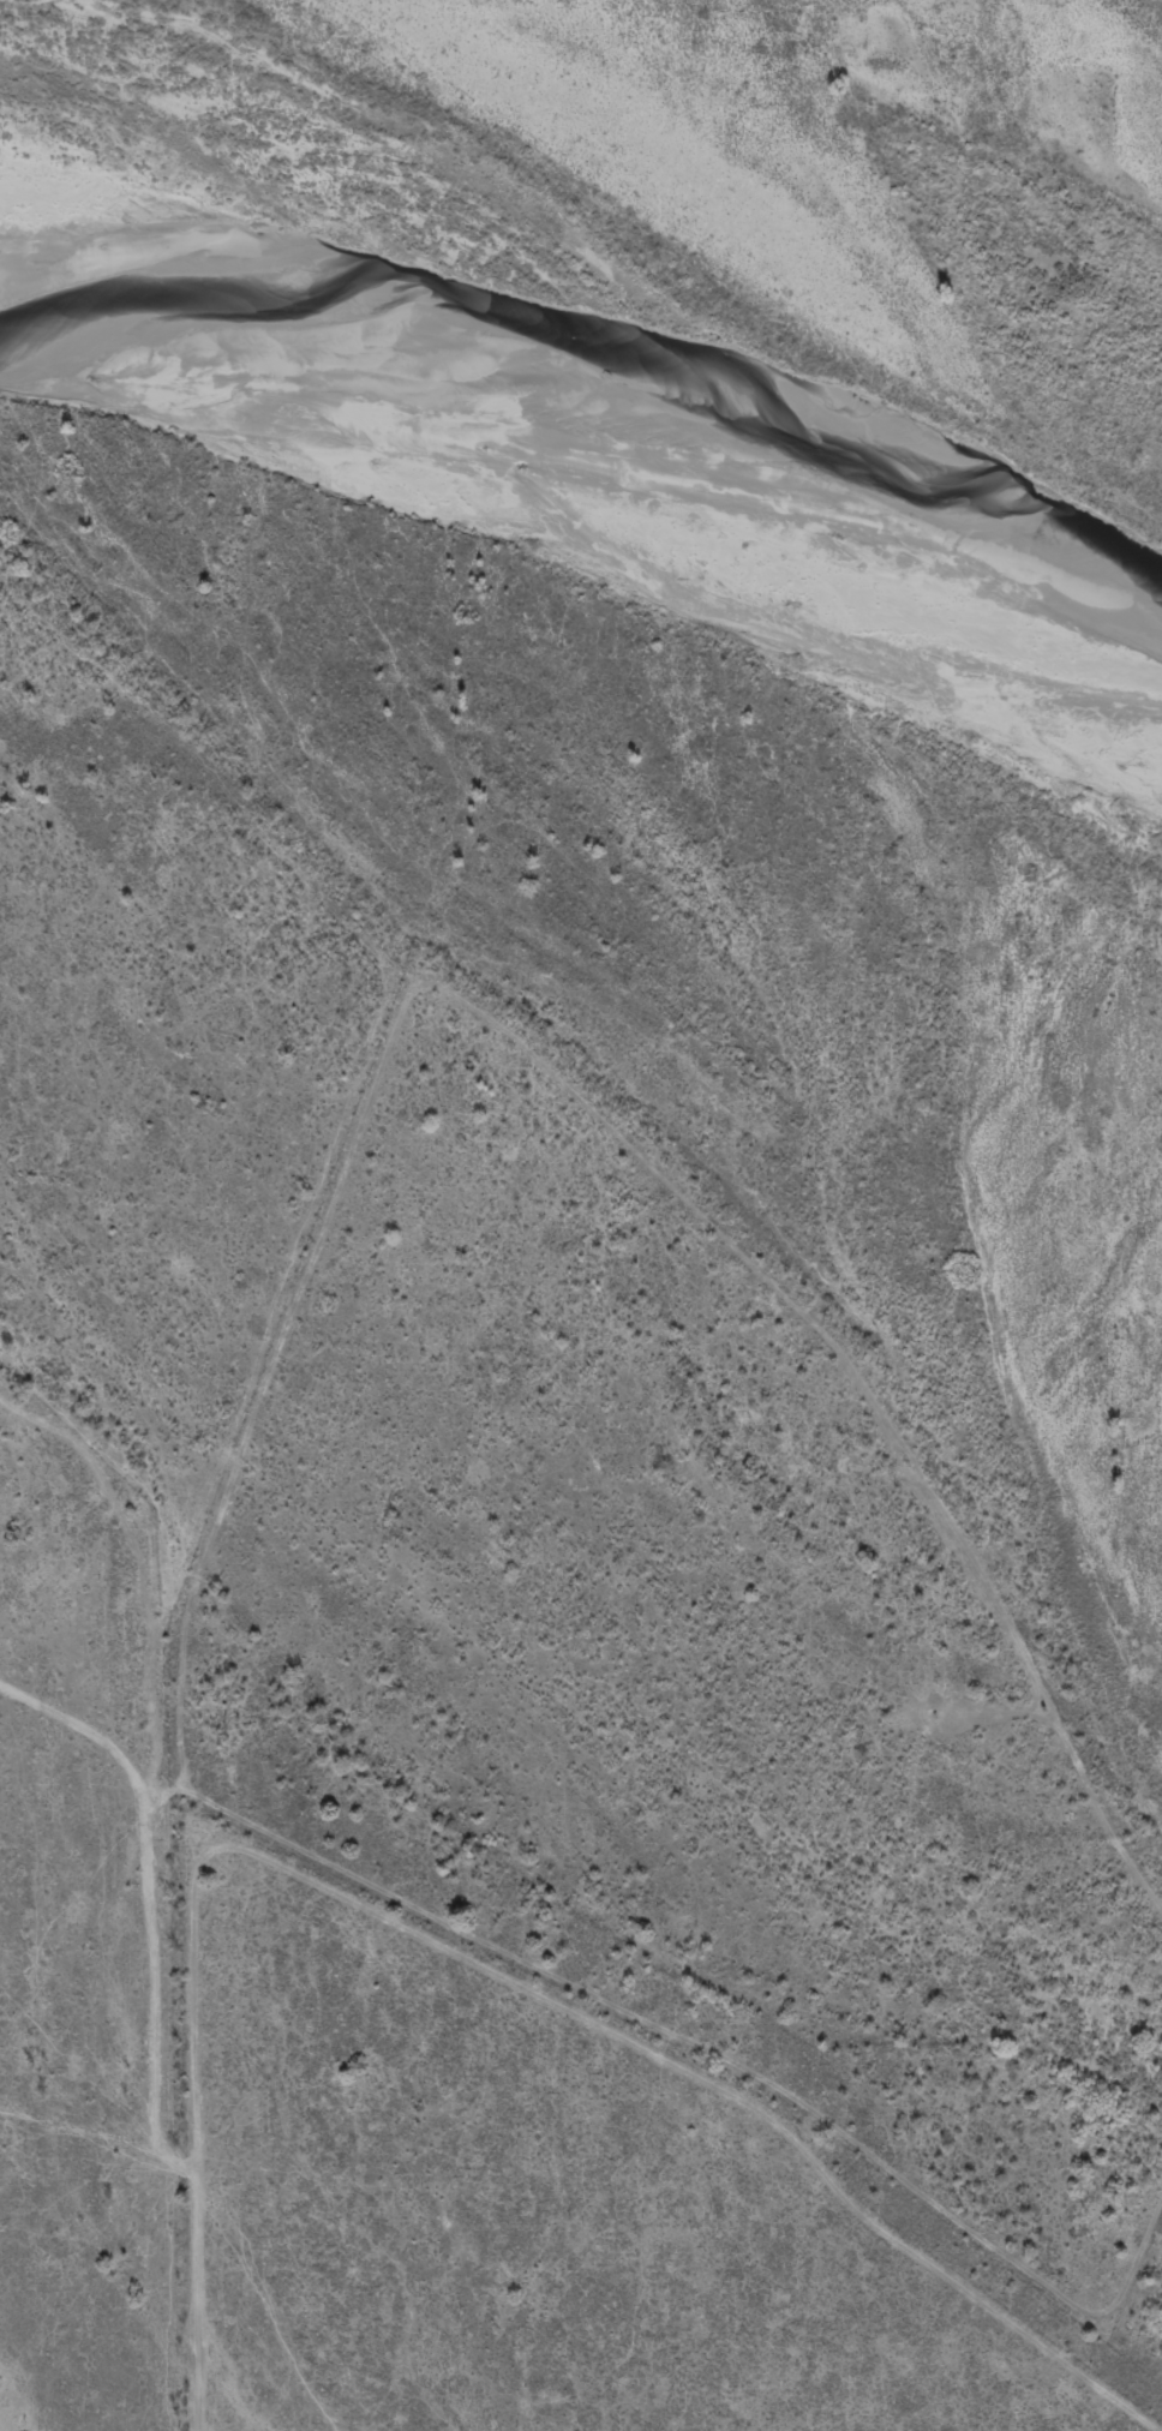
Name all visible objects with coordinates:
river: (622, 489)

